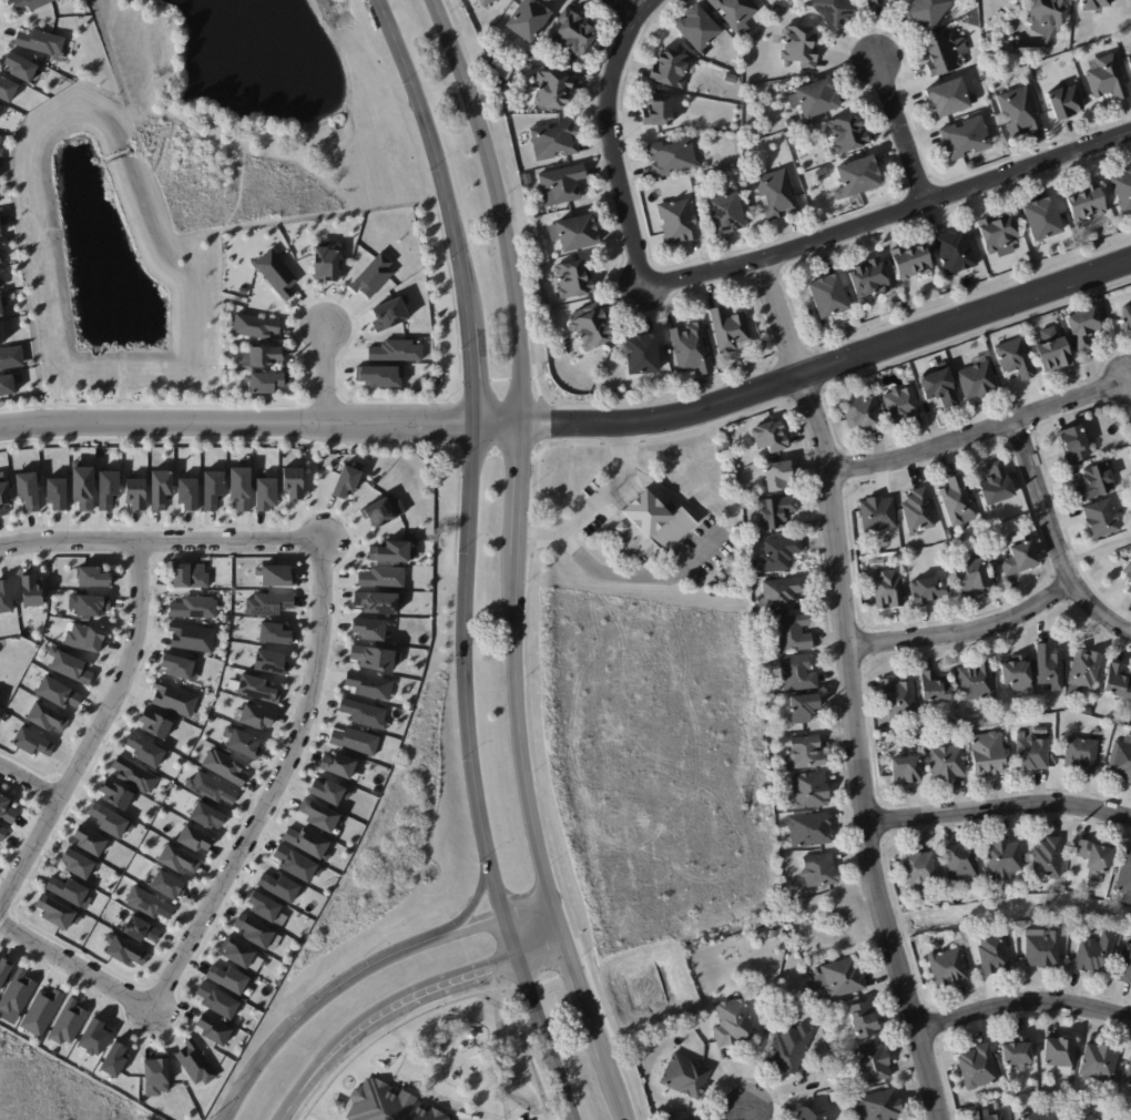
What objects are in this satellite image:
building: (891, 0)
building: (485, 2)
building: (875, 2)
building: (30, 3)
building: (1093, 4)
road: (624, 10)
building: (835, 12)
building: (928, 12)
building: (736, 13)
building: (528, 20)
building: (1043, 23)
building: (699, 29)
building: (571, 37)
building: (41, 42)
building: (801, 47)
building: (946, 55)
building: (532, 59)
building: (1130, 63)
building: (20, 67)
building: (671, 69)
building: (1109, 79)
building: (7, 89)
building: (552, 91)
building: (505, 98)
building: (816, 99)
building: (947, 99)
building: (1063, 103)
building: (0, 105)
building: (511, 110)
building: (659, 112)
building: (1021, 112)
building: (791, 123)
road: (903, 130)
building: (848, 135)
building: (0, 138)
building: (966, 139)
building: (554, 141)
building: (793, 141)
building: (0, 152)
building: (672, 157)
building: (823, 174)
building: (858, 179)
building: (527, 181)
building: (561, 186)
building: (1123, 191)
building: (777, 195)
building: (1087, 204)
building: (748, 211)
building: (726, 215)
building: (1043, 220)
building: (679, 223)
building: (0, 233)
building: (575, 234)
building: (999, 236)
building: (956, 252)
building: (0, 261)
building: (911, 263)
building: (327, 264)
building: (276, 274)
building: (374, 275)
road: (734, 275)
building: (869, 279)
building: (573, 282)
building: (1, 283)
building: (828, 298)
building: (896, 302)
building: (2, 303)
building: (390, 314)
building: (1125, 317)
building: (255, 326)
building: (1083, 327)
building: (590, 328)
road: (770, 329)
building: (2, 333)
building: (731, 333)
building: (397, 350)
building: (692, 350)
building: (1052, 352)
building: (264, 355)
building: (11, 357)
building: (642, 357)
building: (1015, 358)
road: (324, 375)
building: (381, 376)
building: (978, 378)
road: (811, 380)
building: (267, 384)
building: (7, 385)
building: (939, 387)
road: (1122, 404)
building: (901, 406)
building: (863, 411)
road: (237, 422)
building: (770, 437)
road: (975, 437)
building: (1074, 442)
road: (521, 454)
road: (471, 476)
building: (780, 476)
building: (347, 481)
building: (1096, 482)
building: (997, 483)
building: (84, 487)
building: (109, 488)
building: (161, 488)
building: (213, 488)
building: (242, 488)
building: (296, 489)
building: (28, 490)
building: (58, 492)
building: (137, 492)
building: (188, 492)
building: (266, 492)
building: (4, 496)
building: (955, 501)
road: (593, 507)
building: (383, 510)
building: (776, 511)
building: (917, 512)
building: (878, 513)
building: (1102, 518)
building: (650, 527)
road: (161, 538)
road: (1048, 549)
road: (1091, 550)
building: (391, 552)
building: (780, 553)
building: (1019, 559)
building: (1129, 569)
building: (276, 574)
road: (642, 574)
building: (972, 574)
building: (190, 576)
building: (94, 577)
building: (383, 578)
building: (887, 589)
building: (929, 589)
building: (1130, 589)
building: (30, 590)
building: (781, 593)
building: (6, 597)
building: (864, 597)
building: (379, 602)
building: (268, 603)
building: (89, 604)
building: (194, 607)
building: (225, 619)
building: (371, 629)
building: (275, 633)
building: (793, 633)
road: (957, 634)
building: (192, 637)
building: (85, 638)
building: (375, 656)
building: (271, 662)
building: (177, 665)
building: (1049, 666)
building: (71, 668)
building: (1086, 669)
building: (797, 673)
building: (1017, 674)
building: (976, 682)
building: (1118, 682)
building: (369, 685)
building: (937, 688)
building: (258, 689)
building: (773, 691)
building: (58, 692)
building: (898, 698)
building: (174, 699)
building: (804, 707)
building: (364, 713)
building: (256, 716)
building: (47, 717)
building: (155, 723)
road: (94, 725)
building: (1042, 731)
building: (915, 735)
building: (242, 741)
building: (356, 741)
building: (32, 742)
building: (145, 750)
building: (1053, 751)
building: (807, 752)
building: (1031, 753)
building: (1081, 754)
road: (855, 755)
building: (987, 755)
building: (1122, 760)
building: (947, 762)
building: (338, 764)
building: (224, 766)
building: (882, 766)
building: (906, 771)
building: (134, 774)
road: (28, 782)
road: (275, 784)
building: (212, 787)
building: (812, 791)
building: (329, 792)
building: (115, 794)
road: (997, 808)
building: (6, 810)
building: (207, 815)
building: (319, 815)
building: (110, 819)
building: (811, 831)
building: (2, 832)
building: (194, 838)
building: (90, 841)
building: (308, 843)
building: (1097, 857)
building: (177, 859)
building: (1002, 859)
building: (1048, 859)
building: (296, 863)
building: (78, 864)
building: (961, 864)
building: (918, 868)
building: (819, 872)
building: (1125, 878)
building: (169, 884)
building: (279, 887)
building: (68, 890)
building: (149, 903)
building: (264, 906)
building: (57, 912)
building: (142, 929)
building: (255, 930)
building: (773, 934)
building: (760, 937)
building: (784, 937)
building: (124, 949)
building: (1042, 949)
building: (238, 951)
building: (1097, 953)
building: (994, 956)
road: (75, 965)
building: (1127, 967)
building: (947, 968)
building: (4, 969)
road: (364, 973)
building: (228, 978)
building: (838, 980)
building: (16, 996)
road: (409, 999)
road: (1021, 999)
building: (217, 1000)
building: (41, 1011)
road: (592, 1018)
building: (68, 1021)
building: (864, 1021)
building: (733, 1024)
building: (773, 1024)
building: (214, 1028)
building: (94, 1036)
road: (547, 1040)
building: (789, 1048)
building: (638, 1049)
building: (1017, 1052)
building: (1059, 1053)
building: (114, 1059)
building: (195, 1062)
building: (1101, 1063)
building: (872, 1066)
building: (978, 1068)
building: (155, 1076)
building: (685, 1077)
building: (1129, 1078)
building: (834, 1096)
building: (849, 1100)
building: (387, 1104)
building: (879, 1107)
building: (997, 1108)
road: (748, 1112)
building: (811, 1114)
building: (1090, 1114)
building: (986, 1116)
building: (1038, 1117)
building: (671, 1118)

